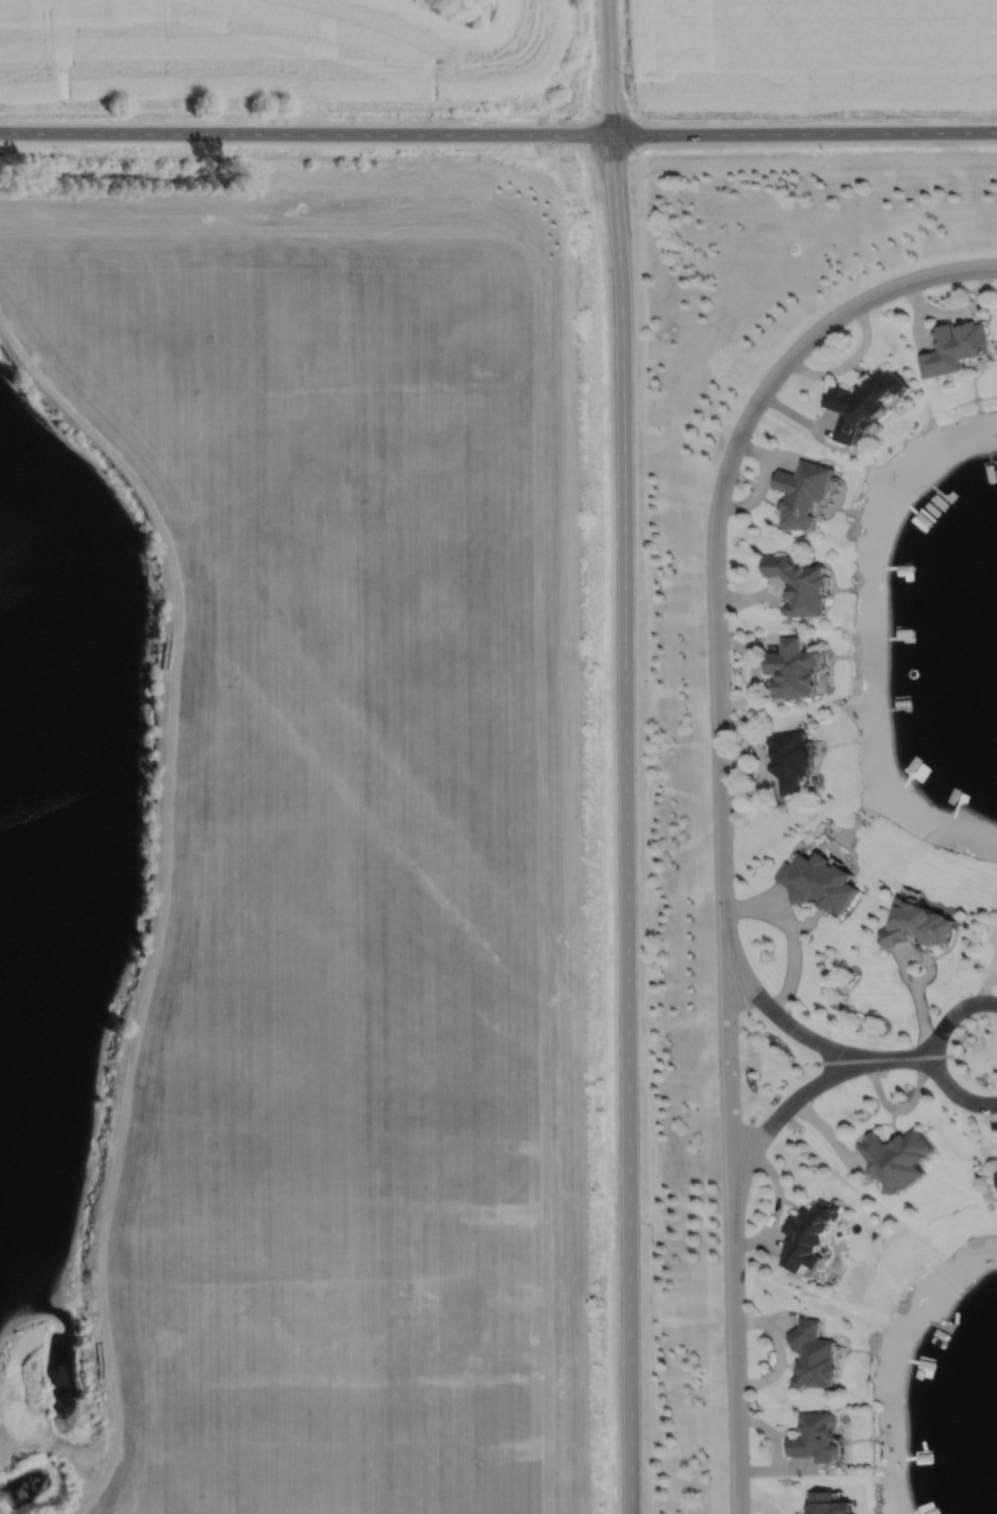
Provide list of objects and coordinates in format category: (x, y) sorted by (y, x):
crop: (276, 50)
crop: (815, 51)
road: (611, 67)
road: (498, 134)
road: (936, 276)
building: (955, 348)
building: (863, 404)
building: (803, 493)
building: (799, 586)
building: (793, 671)
building: (791, 757)
road: (626, 824)
road: (723, 872)
building: (819, 881)
road: (162, 896)
building: (915, 924)
road: (984, 986)
road: (777, 1016)
road: (935, 1053)
road: (809, 1089)
building: (897, 1159)
building: (809, 1235)
road: (780, 1353)
building: (812, 1355)
building: (815, 1436)
building: (828, 1503)

